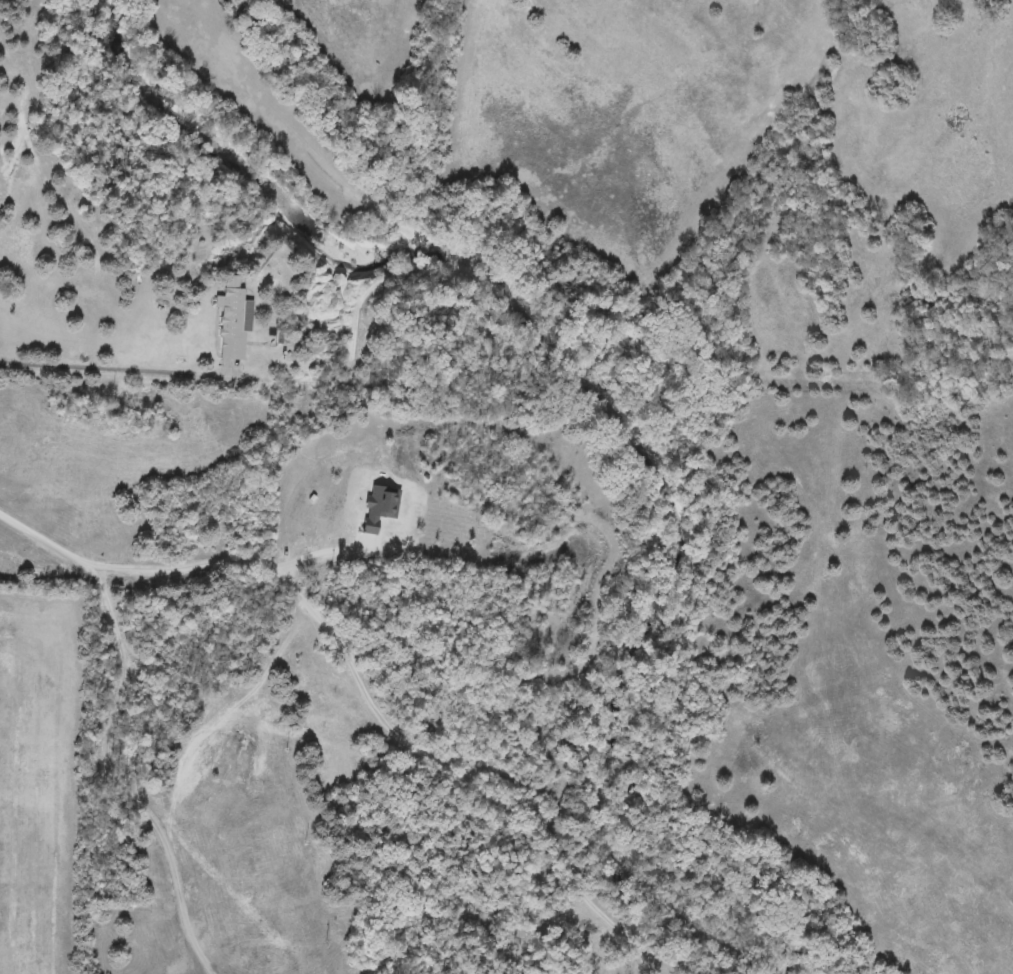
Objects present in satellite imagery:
building: (229, 320)
road: (112, 367)
road: (38, 531)
road: (222, 557)
road: (109, 775)
road: (455, 777)
building: (587, 965)

